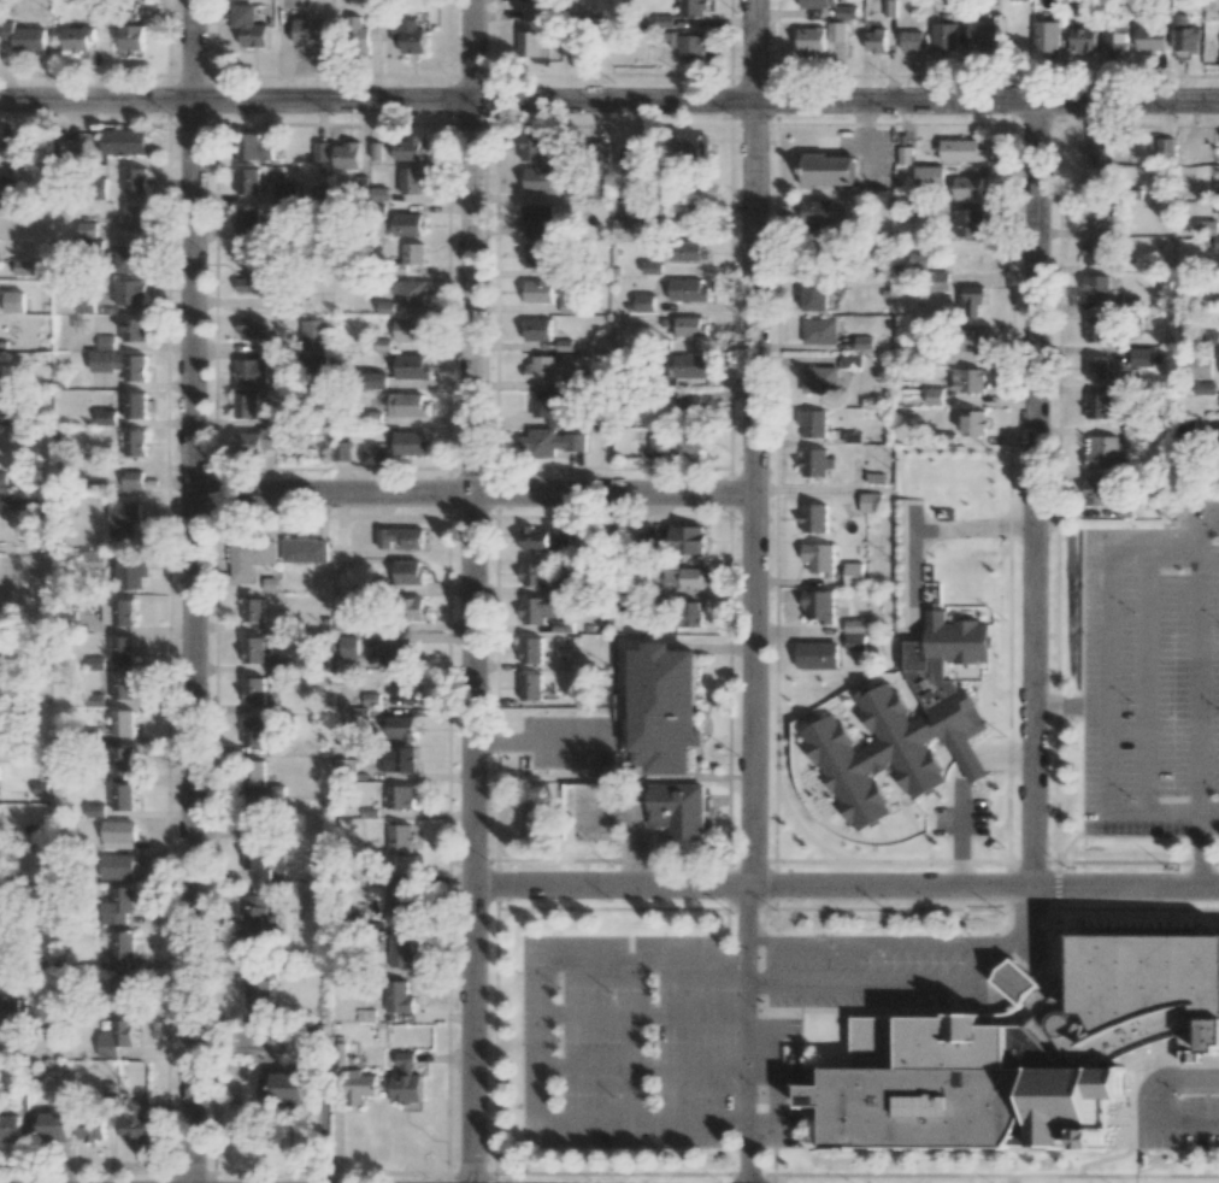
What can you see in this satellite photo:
building: (526, 0)
building: (953, 1)
building: (817, 2)
building: (693, 7)
building: (844, 11)
building: (249, 24)
building: (365, 27)
building: (836, 31)
building: (979, 34)
building: (1184, 34)
building: (408, 35)
building: (944, 35)
building: (24, 36)
building: (1114, 36)
building: (130, 37)
building: (1046, 37)
building: (1082, 37)
building: (811, 39)
building: (1150, 39)
building: (876, 40)
building: (911, 40)
building: (76, 42)
building: (532, 43)
building: (690, 46)
road: (608, 102)
building: (124, 141)
building: (691, 143)
building: (253, 146)
building: (532, 146)
building: (1097, 147)
building: (408, 148)
building: (1164, 148)
building: (961, 149)
building: (320, 151)
building: (347, 154)
building: (632, 157)
building: (828, 169)
building: (929, 175)
building: (135, 179)
building: (412, 179)
building: (538, 179)
building: (248, 181)
building: (1095, 181)
building: (967, 187)
building: (8, 188)
building: (1217, 190)
building: (641, 208)
building: (818, 211)
building: (1096, 214)
building: (135, 217)
building: (247, 218)
building: (537, 219)
building: (968, 222)
building: (407, 224)
building: (1208, 226)
building: (628, 228)
building: (87, 229)
building: (1215, 241)
building: (688, 251)
building: (1096, 251)
building: (413, 253)
building: (535, 254)
building: (128, 258)
building: (24, 266)
building: (255, 277)
building: (941, 281)
building: (1096, 288)
building: (688, 289)
building: (538, 290)
building: (129, 292)
building: (410, 292)
building: (814, 294)
building: (970, 300)
building: (13, 301)
building: (643, 301)
building: (84, 305)
building: (689, 325)
building: (134, 329)
building: (249, 329)
building: (410, 329)
building: (537, 329)
building: (1096, 329)
building: (819, 330)
building: (974, 339)
building: (106, 341)
building: (862, 342)
building: (1141, 357)
building: (120, 364)
building: (314, 364)
building: (689, 365)
building: (411, 366)
building: (1096, 366)
building: (1201, 366)
building: (541, 367)
building: (255, 371)
building: (819, 378)
building: (375, 379)
building: (970, 379)
building: (1205, 388)
building: (934, 395)
building: (246, 404)
building: (135, 405)
building: (407, 405)
building: (553, 405)
building: (1099, 405)
building: (689, 406)
building: (106, 417)
building: (974, 422)
building: (812, 423)
building: (676, 441)
building: (135, 442)
building: (410, 442)
building: (549, 442)
road: (753, 442)
building: (257, 443)
building: (341, 449)
building: (1102, 451)
building: (814, 461)
building: (2, 478)
building: (131, 478)
building: (1095, 490)
road: (1033, 494)
road: (473, 498)
building: (18, 502)
building: (870, 502)
building: (813, 517)
building: (123, 518)
road: (926, 529)
road: (1195, 531)
building: (400, 537)
building: (535, 538)
building: (687, 538)
building: (560, 543)
building: (305, 549)
building: (249, 555)
building: (818, 558)
building: (93, 561)
building: (408, 572)
building: (535, 572)
building: (853, 573)
building: (130, 575)
building: (683, 576)
road: (193, 590)
road: (473, 591)
building: (818, 606)
building: (414, 607)
building: (253, 608)
building: (537, 608)
road: (1107, 608)
building: (117, 612)
building: (690, 613)
road: (1143, 620)
building: (344, 622)
building: (854, 625)
building: (853, 642)
building: (4, 643)
building: (347, 646)
road: (1195, 647)
building: (122, 648)
building: (253, 649)
building: (530, 649)
building: (395, 653)
building: (815, 654)
parking lot: (1149, 678)
building: (122, 685)
building: (401, 685)
building: (530, 685)
building: (253, 689)
building: (6, 695)
road: (1068, 704)
building: (664, 708)
building: (122, 722)
building: (906, 725)
building: (400, 728)
building: (253, 731)
parking lot: (566, 743)
building: (122, 759)
building: (395, 759)
building: (342, 767)
building: (254, 773)
road: (1142, 776)
road: (1197, 777)
building: (122, 796)
building: (399, 796)
building: (679, 808)
building: (94, 810)
road: (1108, 811)
parking lot: (593, 813)
building: (254, 817)
building: (534, 817)
building: (118, 830)
building: (401, 838)
road: (1199, 849)
building: (254, 860)
building: (116, 866)
road: (844, 887)
building: (118, 905)
building: (396, 905)
building: (255, 917)
road: (748, 919)
road: (1026, 935)
road: (864, 942)
building: (122, 943)
building: (399, 949)
road: (644, 960)
building: (117, 963)
road: (877, 982)
building: (122, 988)
building: (260, 993)
building: (1132, 995)
building: (397, 996)
building: (10, 1005)
road: (644, 1013)
road: (543, 1014)
parking lot: (717, 1026)
building: (114, 1037)
road: (1165, 1075)
road: (778, 1077)
road: (543, 1079)
building: (405, 1081)
building: (358, 1085)
building: (281, 1087)
building: (925, 1102)
parking lot: (1178, 1108)
building: (134, 1120)
road: (1184, 1125)
building: (51, 1126)
building: (10, 1128)
building: (89, 1128)

